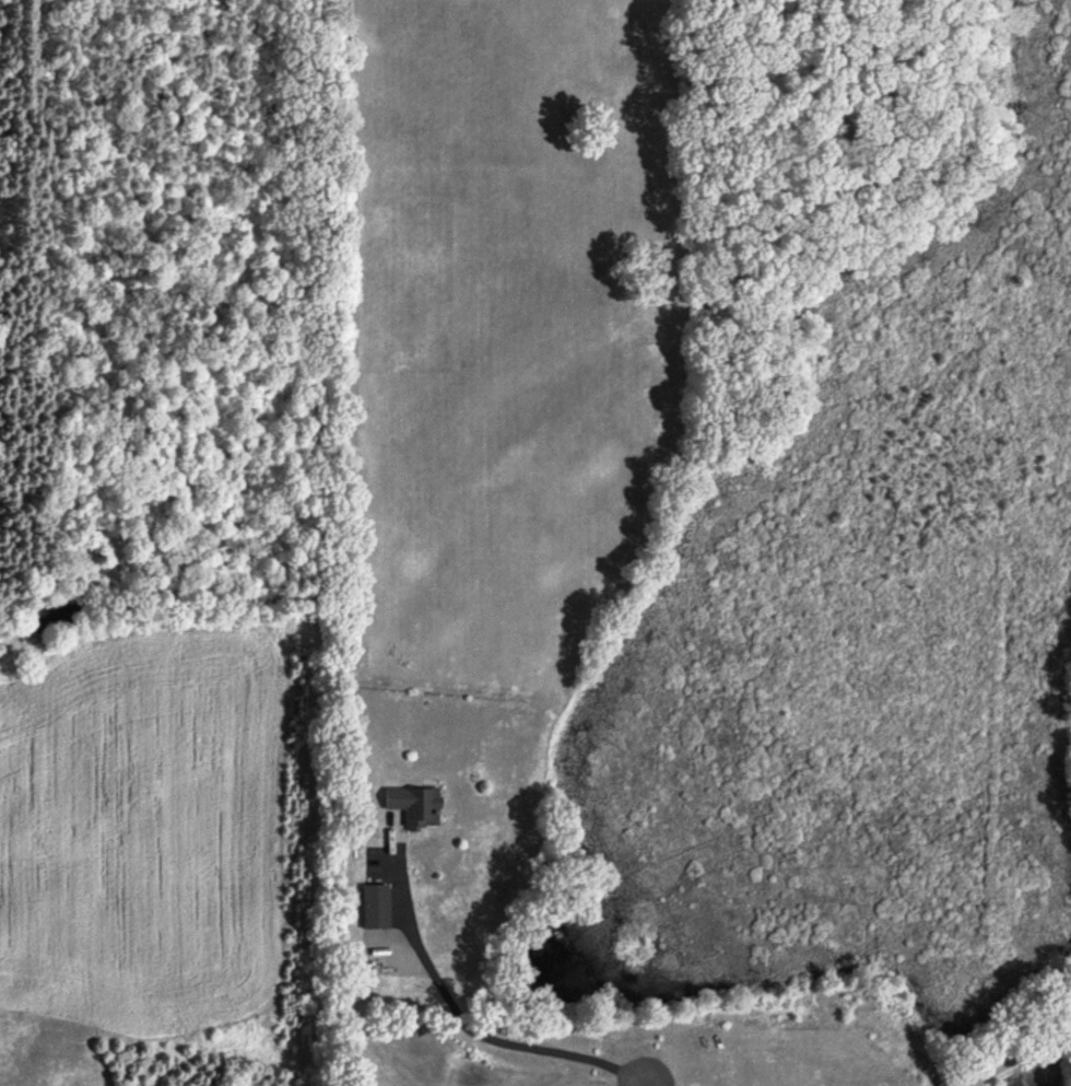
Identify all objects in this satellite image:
building: (417, 808)
building: (378, 909)
road: (467, 1024)
road: (1023, 1053)

